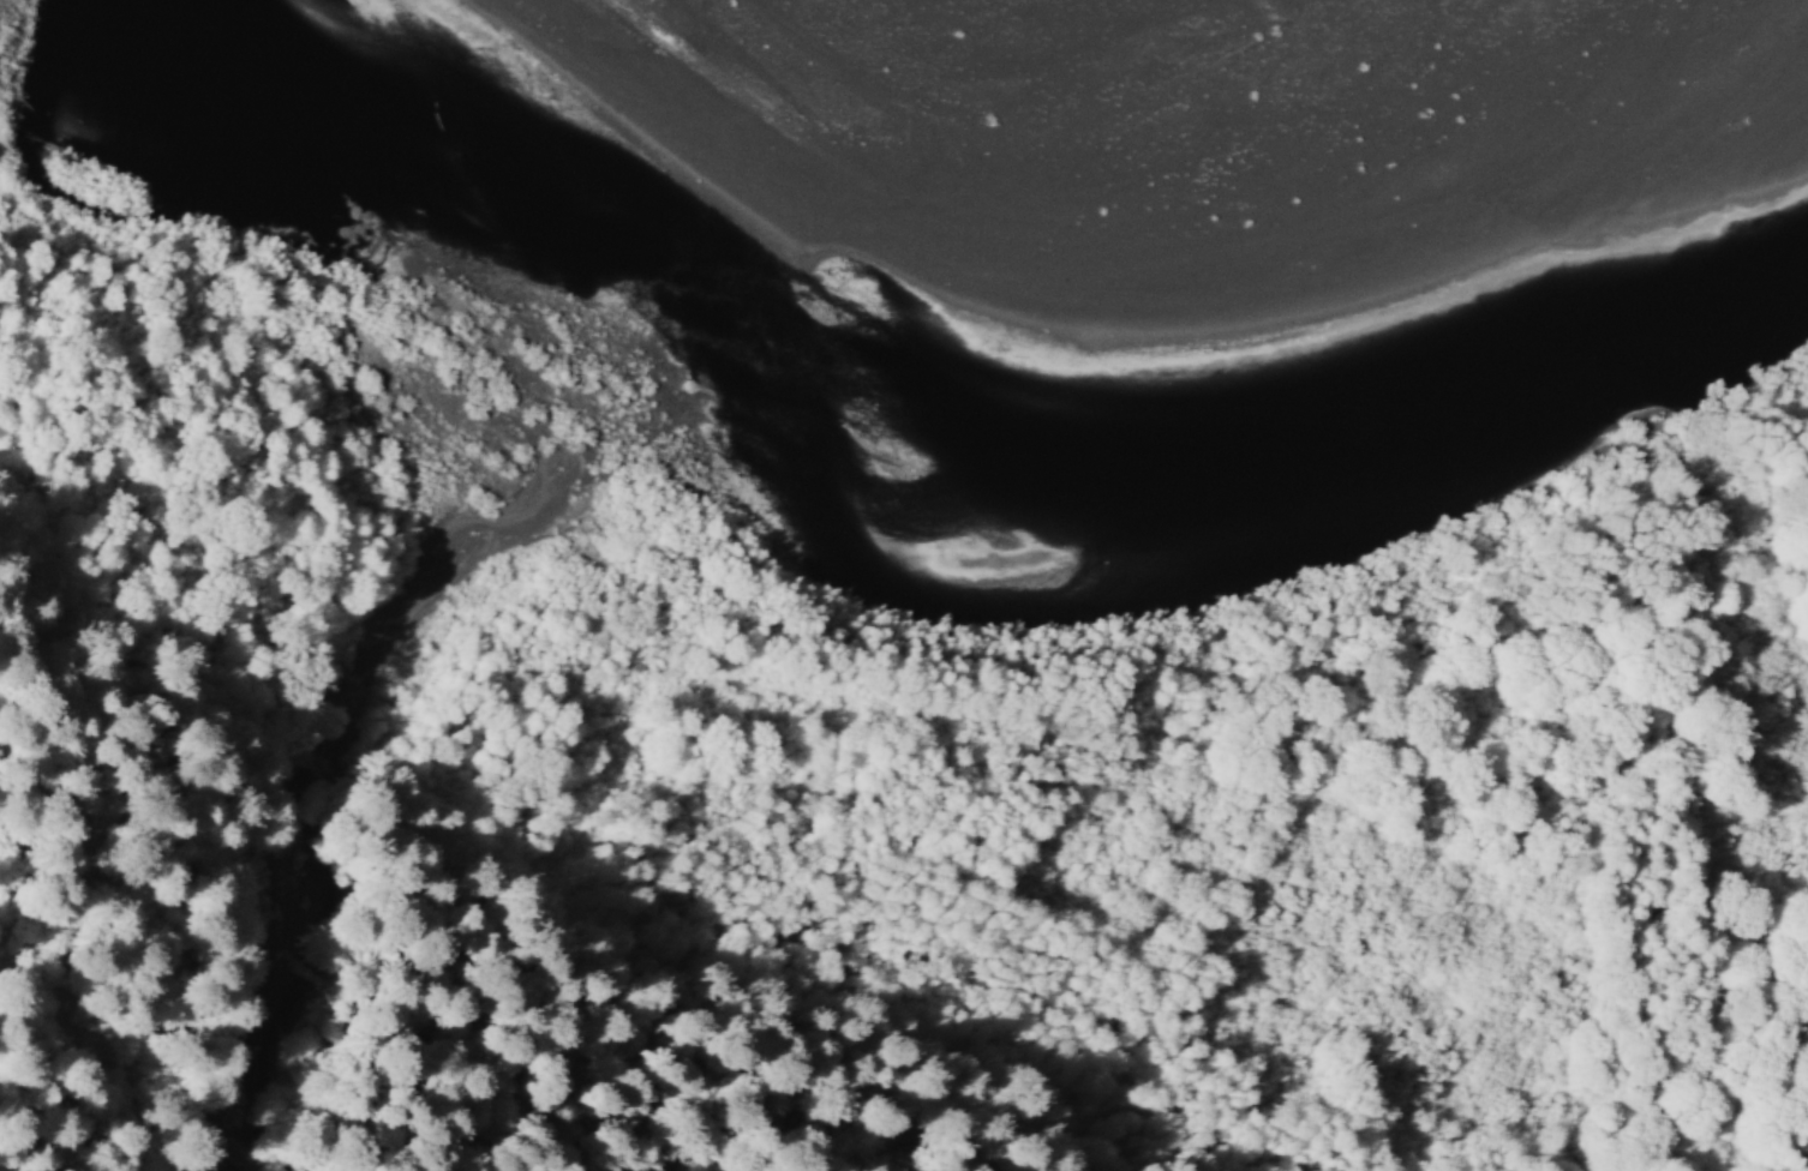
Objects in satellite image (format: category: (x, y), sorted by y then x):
river: (420, 248)
river: (1258, 651)
road: (1712, 1052)
road: (239, 1124)

